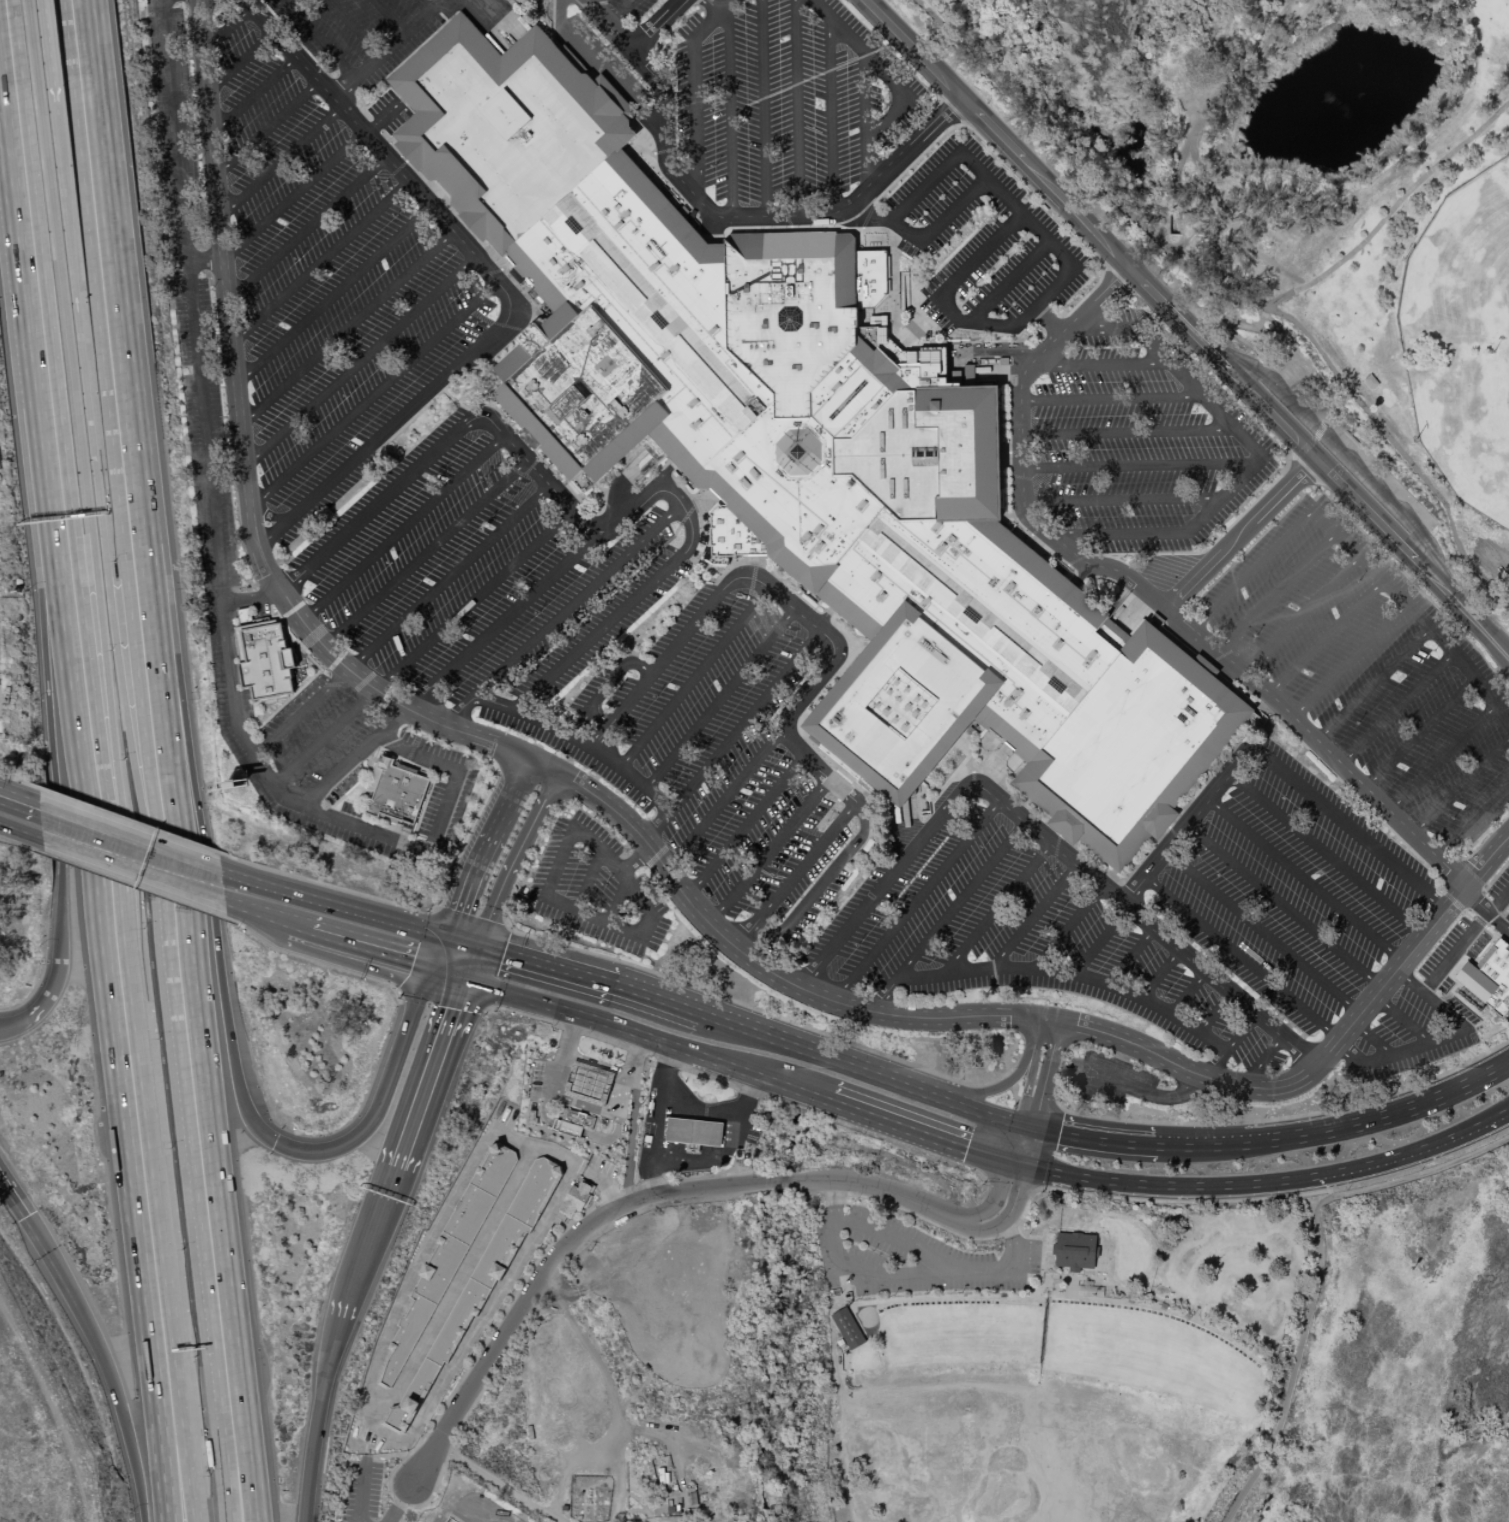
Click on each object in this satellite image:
road: (423, 6)
road: (713, 6)
parking lot: (628, 9)
road: (619, 11)
road: (389, 17)
road: (656, 24)
road: (227, 28)
road: (355, 28)
parking lot: (364, 31)
road: (319, 39)
road: (389, 49)
road: (53, 52)
road: (591, 55)
road: (241, 62)
road: (438, 70)
road: (891, 83)
road: (694, 89)
road: (254, 95)
road: (865, 96)
parking lot: (785, 100)
road: (797, 107)
road: (763, 108)
parking lot: (389, 112)
road: (730, 112)
road: (831, 114)
road: (1042, 126)
road: (267, 128)
road: (1202, 157)
road: (390, 160)
road: (281, 162)
road: (1033, 173)
road: (1407, 194)
road: (294, 195)
road: (912, 198)
park: (1297, 206)
road: (729, 216)
road: (869, 218)
road: (1010, 225)
road: (307, 229)
road: (1197, 231)
parking lot: (985, 245)
road: (12, 248)
road: (1173, 256)
road: (205, 260)
road: (320, 262)
road: (1009, 282)
parking lot: (326, 283)
road: (1199, 292)
road: (1297, 294)
road: (334, 295)
road: (1048, 321)
road: (348, 328)
road: (1286, 337)
park: (1462, 341)
road: (1249, 344)
road: (361, 362)
road: (199, 363)
road: (1101, 364)
parking lot: (202, 395)
road: (374, 395)
road: (1112, 399)
road: (140, 430)
road: (1128, 433)
road: (381, 438)
building: (810, 442)
parking lot: (1139, 442)
road: (1312, 442)
road: (1342, 452)
road: (243, 453)
road: (1404, 455)
road: (1256, 458)
road: (1135, 466)
road: (1325, 469)
road: (536, 470)
road: (661, 493)
road: (1122, 500)
road: (375, 505)
road: (403, 528)
road: (1240, 534)
road: (126, 535)
road: (425, 553)
road: (1249, 572)
road: (112, 589)
road: (1276, 591)
road: (252, 599)
road: (579, 601)
road: (1159, 604)
road: (1414, 611)
road: (1300, 614)
road: (402, 621)
road: (1479, 625)
road: (598, 632)
road: (1325, 637)
road: (422, 647)
road: (87, 653)
road: (103, 653)
road: (38, 658)
road: (1349, 660)
building: (265, 661)
parking lot: (1369, 668)
road: (656, 669)
road: (449, 671)
road: (694, 678)
road: (610, 682)
parking lot: (691, 684)
road: (1373, 684)
road: (809, 689)
road: (720, 699)
road: (0, 702)
road: (1396, 708)
road: (743, 721)
road: (1419, 733)
road: (577, 741)
road: (1441, 758)
road: (20, 781)
road: (1460, 786)
building: (399, 797)
road: (724, 800)
road: (21, 815)
road: (1472, 820)
road: (130, 821)
road: (1187, 822)
road: (745, 826)
road: (1351, 830)
road: (391, 838)
road: (92, 840)
road: (22, 846)
road: (769, 852)
road: (484, 854)
road: (1325, 854)
road: (635, 861)
road: (806, 861)
road: (513, 862)
road: (161, 864)
road: (1496, 877)
road: (201, 878)
road: (589, 880)
road: (1304, 880)
road: (628, 884)
road: (136, 887)
parking lot: (595, 888)
road: (446, 889)
parking lot: (1500, 889)
road: (879, 890)
parking lot: (1291, 890)
road: (812, 894)
road: (259, 897)
road: (959, 900)
road: (616, 901)
road: (916, 901)
road: (1283, 905)
road: (996, 909)
road: (307, 913)
road: (1034, 915)
road: (1139, 917)
parking lot: (1507, 917)
road: (474, 918)
road: (1499, 922)
road: (1069, 927)
road: (1262, 932)
road: (746, 933)
road: (381, 935)
parking lot: (1019, 937)
road: (91, 940)
road: (1101, 940)
road: (1464, 941)
traffic signals: (445, 953)
parking lot: (1451, 953)
road: (460, 954)
traffic signals: (476, 955)
road: (1130, 956)
road: (1240, 958)
road: (753, 961)
road: (316, 962)
road: (456, 965)
road: (471, 966)
road: (545, 967)
road: (1049, 969)
road: (1159, 974)
traffic signals: (467, 978)
building: (1489, 978)
road: (45, 980)
road: (1187, 992)
road: (658, 1001)
road: (219, 1007)
road: (18, 1012)
road: (760, 1012)
road: (1215, 1012)
road: (1401, 1019)
road: (1042, 1032)
road: (1240, 1033)
parking lot: (1409, 1034)
road: (649, 1038)
road: (1371, 1039)
road: (1436, 1040)
road: (821, 1054)
road: (1262, 1061)
road: (1319, 1061)
road: (1214, 1064)
road: (596, 1067)
road: (432, 1072)
road: (1047, 1076)
parking lot: (1109, 1079)
road: (1009, 1081)
building: (589, 1084)
road: (1029, 1085)
road: (998, 1087)
road: (387, 1088)
road: (1138, 1089)
road: (743, 1090)
road: (1013, 1094)
road: (1038, 1103)
road: (583, 1104)
road: (723, 1114)
road: (983, 1114)
road: (1289, 1118)
building: (577, 1120)
road: (659, 1120)
traffic signals: (1027, 1127)
road: (1340, 1128)
road: (925, 1129)
building: (566, 1130)
road: (577, 1131)
building: (697, 1133)
road: (630, 1139)
road: (1093, 1139)
traffic signals: (276, 1144)
road: (1022, 1144)
road: (1414, 1152)
road: (709, 1161)
traffic signals: (1017, 1161)
road: (1041, 1176)
road: (1163, 1186)
road: (1055, 1189)
road: (222, 1191)
road: (14, 1196)
road: (993, 1198)
building: (576, 1199)
road: (639, 1200)
road: (1005, 1215)
road: (431, 1236)
road: (891, 1237)
traffic signals: (48, 1244)
road: (374, 1244)
building: (1076, 1245)
road: (199, 1249)
building: (447, 1257)
road: (56, 1258)
road: (1316, 1269)
road: (903, 1275)
road: (615, 1281)
road: (457, 1283)
building: (479, 1285)
parking lot: (665, 1287)
road: (492, 1304)
road: (499, 1317)
building: (848, 1329)
park: (697, 1346)
park: (1054, 1357)
park: (1392, 1358)
road: (613, 1401)
road: (56, 1403)
road: (130, 1408)
road: (185, 1414)
road: (319, 1420)
road: (667, 1437)
road: (385, 1456)
road: (424, 1463)
road: (569, 1465)
road: (228, 1474)
road: (498, 1484)
parking lot: (360, 1489)
road: (360, 1490)
road: (399, 1502)
road: (639, 1502)
road: (630, 1510)
park: (334, 1519)

